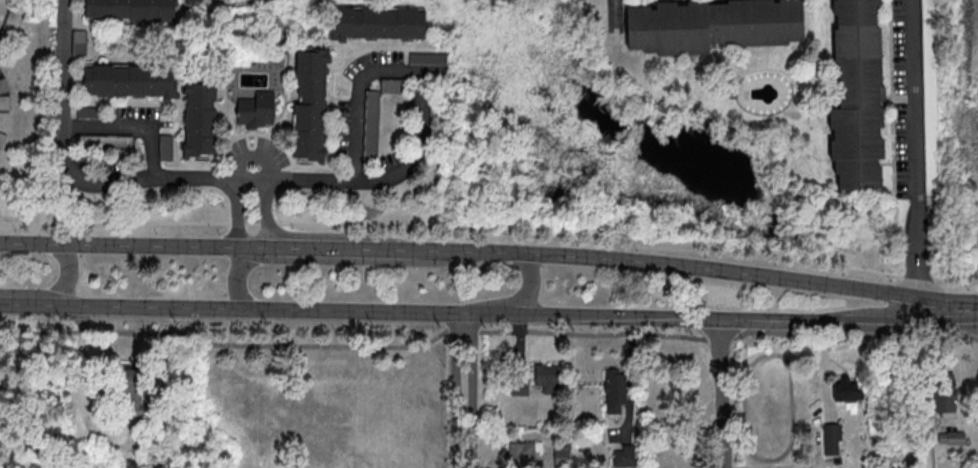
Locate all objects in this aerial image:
building: (203, 0)
building: (131, 10)
building: (379, 23)
building: (715, 23)
road: (411, 73)
building: (131, 80)
building: (857, 93)
building: (311, 106)
building: (257, 111)
building: (375, 119)
building: (201, 120)
road: (133, 125)
road: (913, 150)
road: (126, 182)
road: (235, 214)
road: (267, 216)
road: (490, 230)
road: (489, 252)
road: (334, 261)
road: (60, 290)
road: (519, 302)
road: (486, 313)
road: (975, 316)
road: (486, 330)
building: (550, 377)
building: (846, 388)
road: (464, 390)
building: (136, 391)
building: (615, 391)
building: (945, 391)
road: (723, 393)
park: (222, 395)
building: (952, 437)
building: (832, 438)
road: (104, 445)
building: (522, 453)
building: (561, 454)
building: (624, 455)

